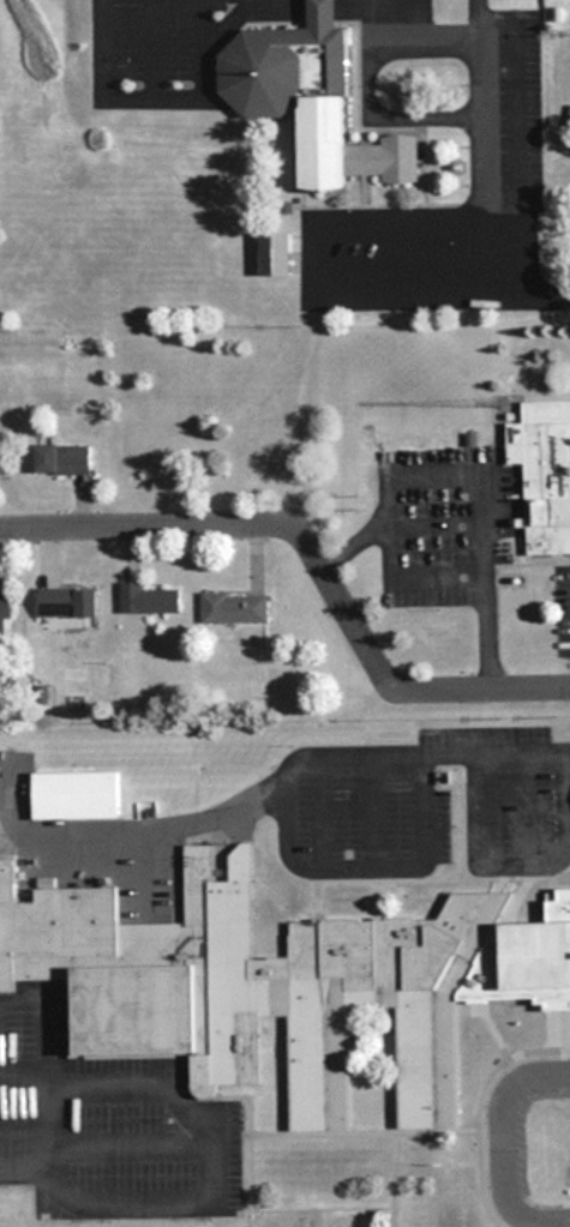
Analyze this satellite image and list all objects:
building: (312, 100)
road: (516, 130)
building: (276, 253)
road: (314, 263)
road: (552, 295)
building: (62, 459)
building: (544, 473)
road: (470, 530)
road: (312, 558)
building: (149, 600)
building: (67, 602)
building: (235, 608)
building: (4, 613)
road: (497, 753)
building: (76, 795)
road: (295, 864)
building: (253, 986)
building: (378, 1109)
road: (498, 1144)
road: (24, 1165)

